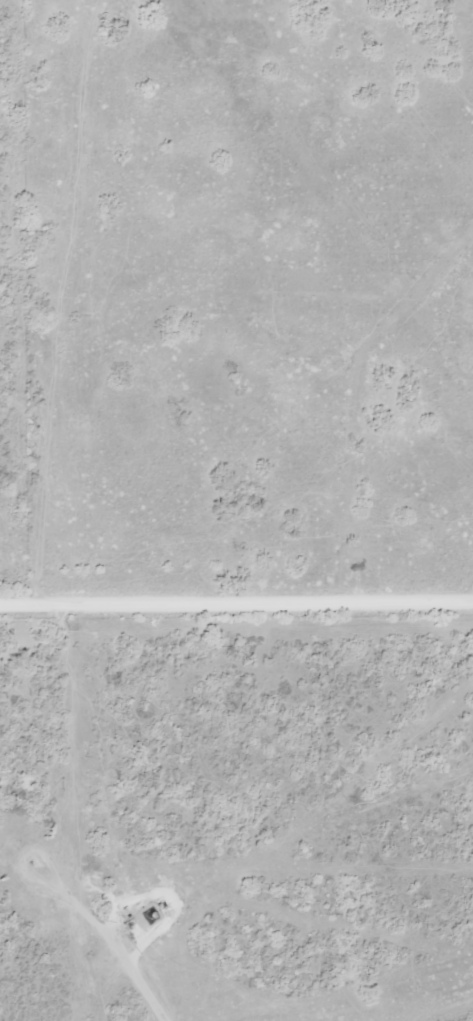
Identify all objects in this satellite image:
road: (12, 297)
road: (236, 608)

